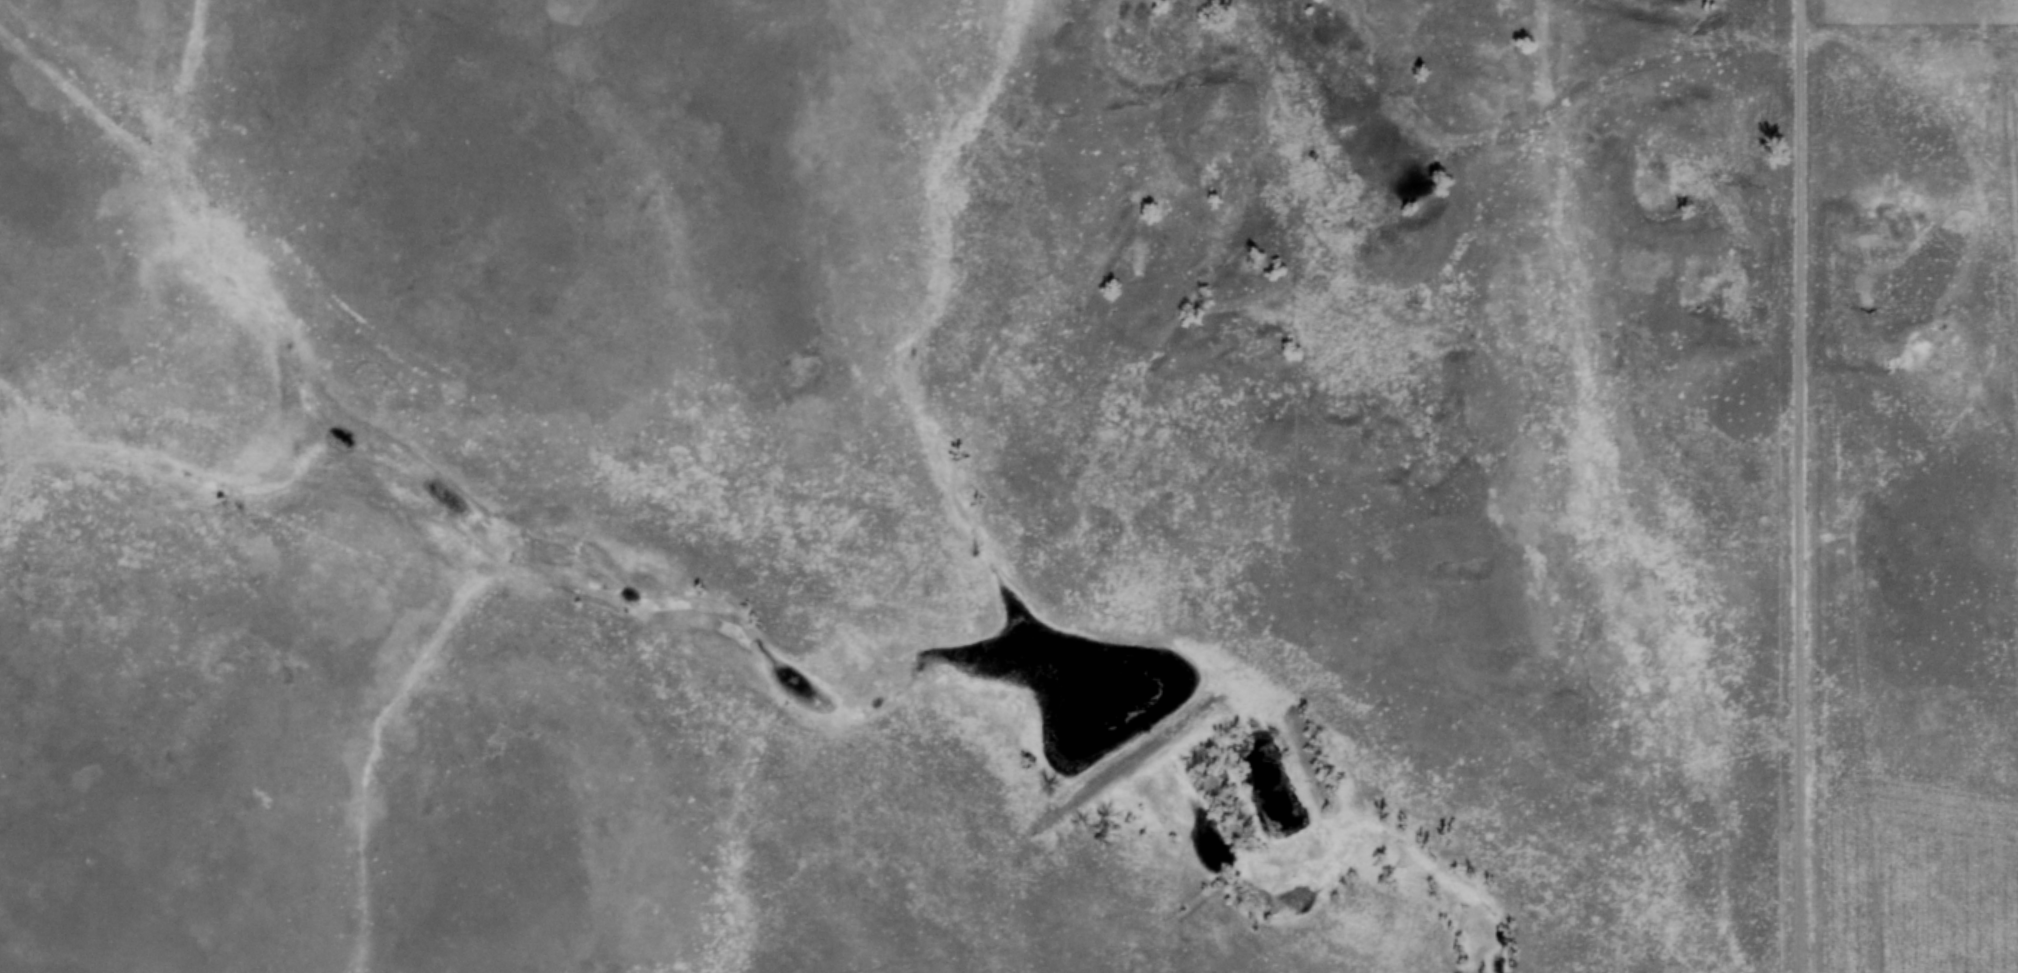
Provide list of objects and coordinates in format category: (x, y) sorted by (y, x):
road: (1800, 3)
road: (1800, 490)

